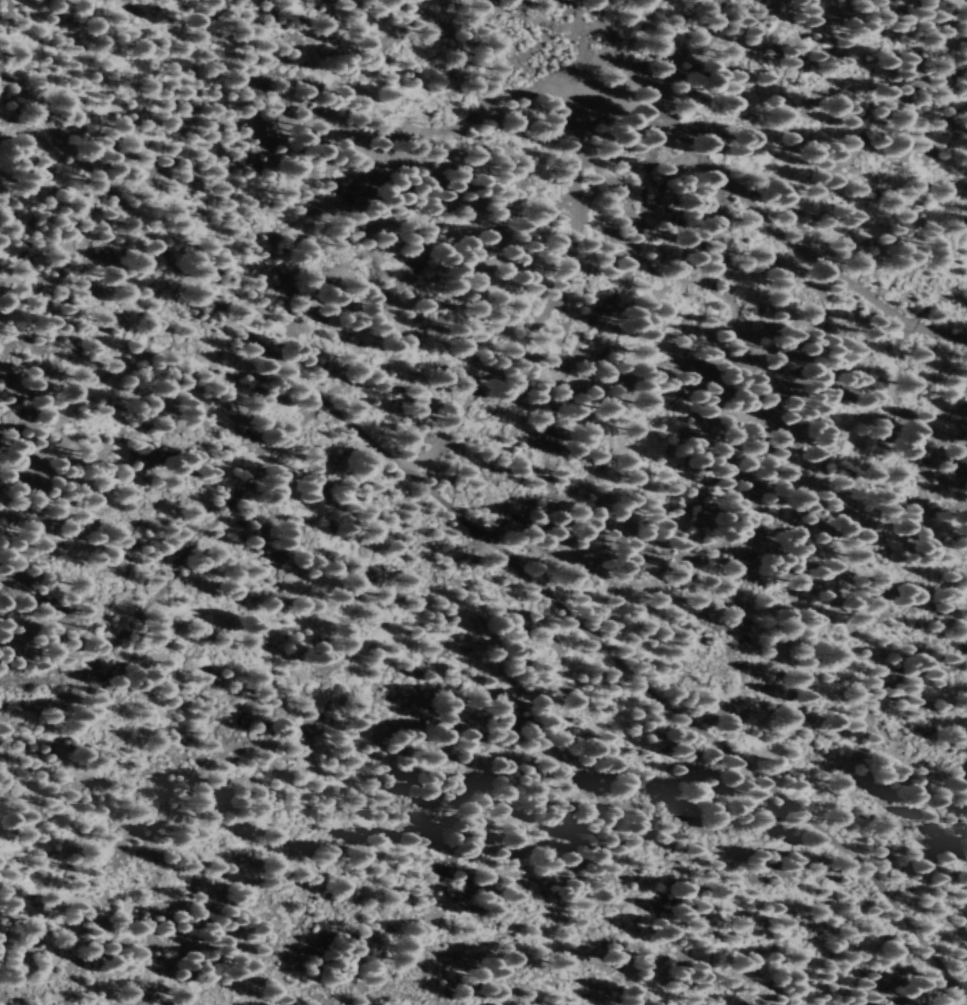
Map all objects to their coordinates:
road: (485, 530)

